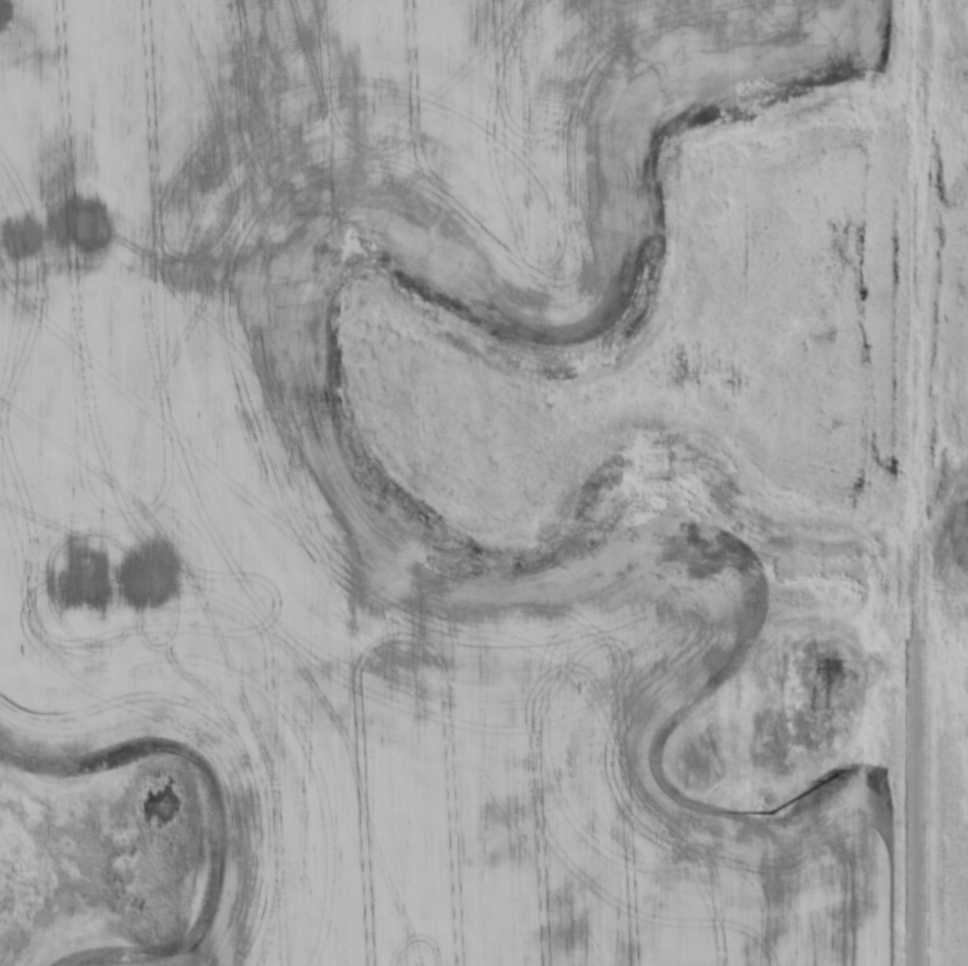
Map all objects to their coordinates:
road: (918, 482)
power tower: (785, 819)

